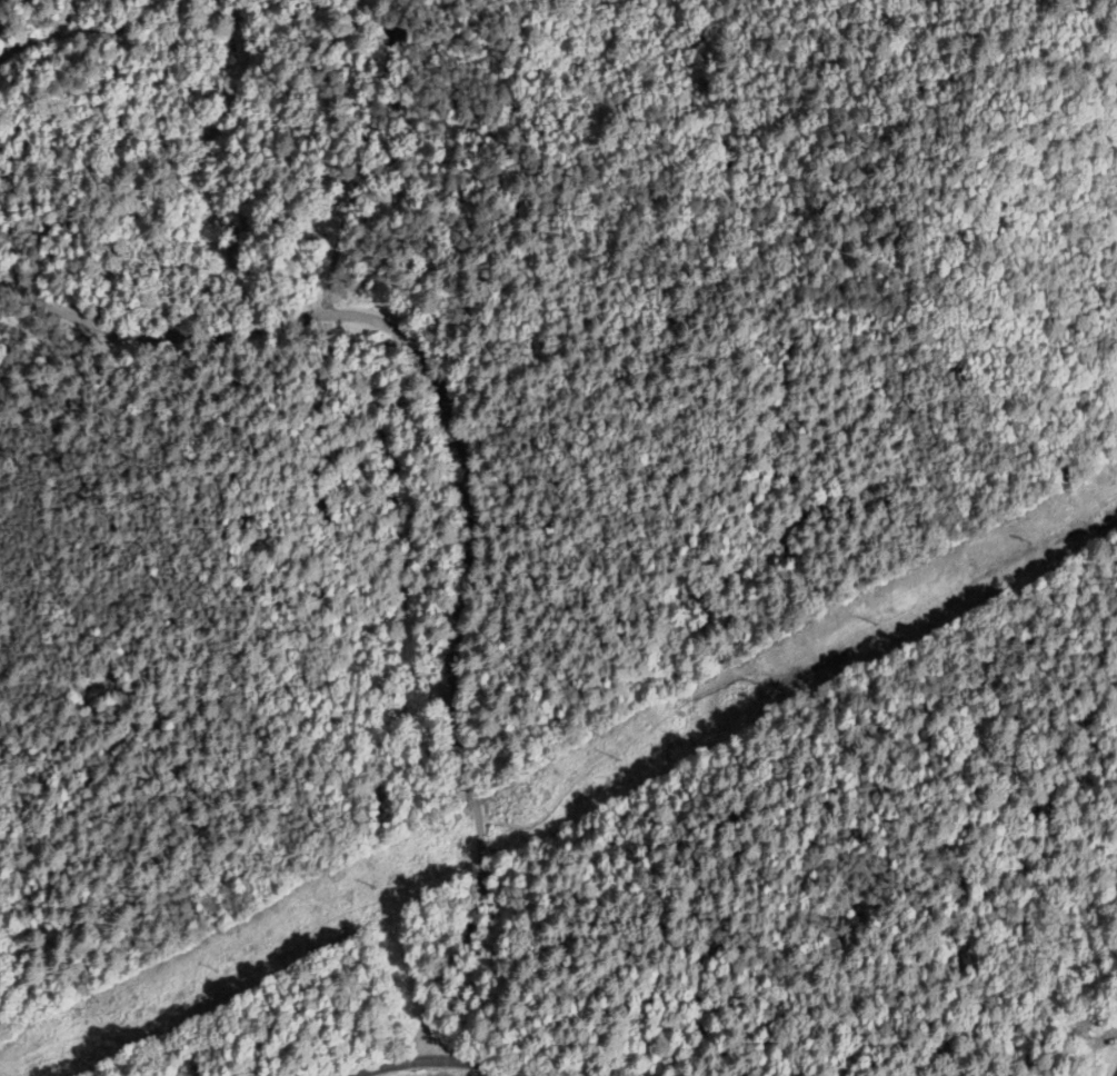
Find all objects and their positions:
road: (469, 491)
road: (1077, 1029)
road: (1115, 1037)
road: (438, 1060)

